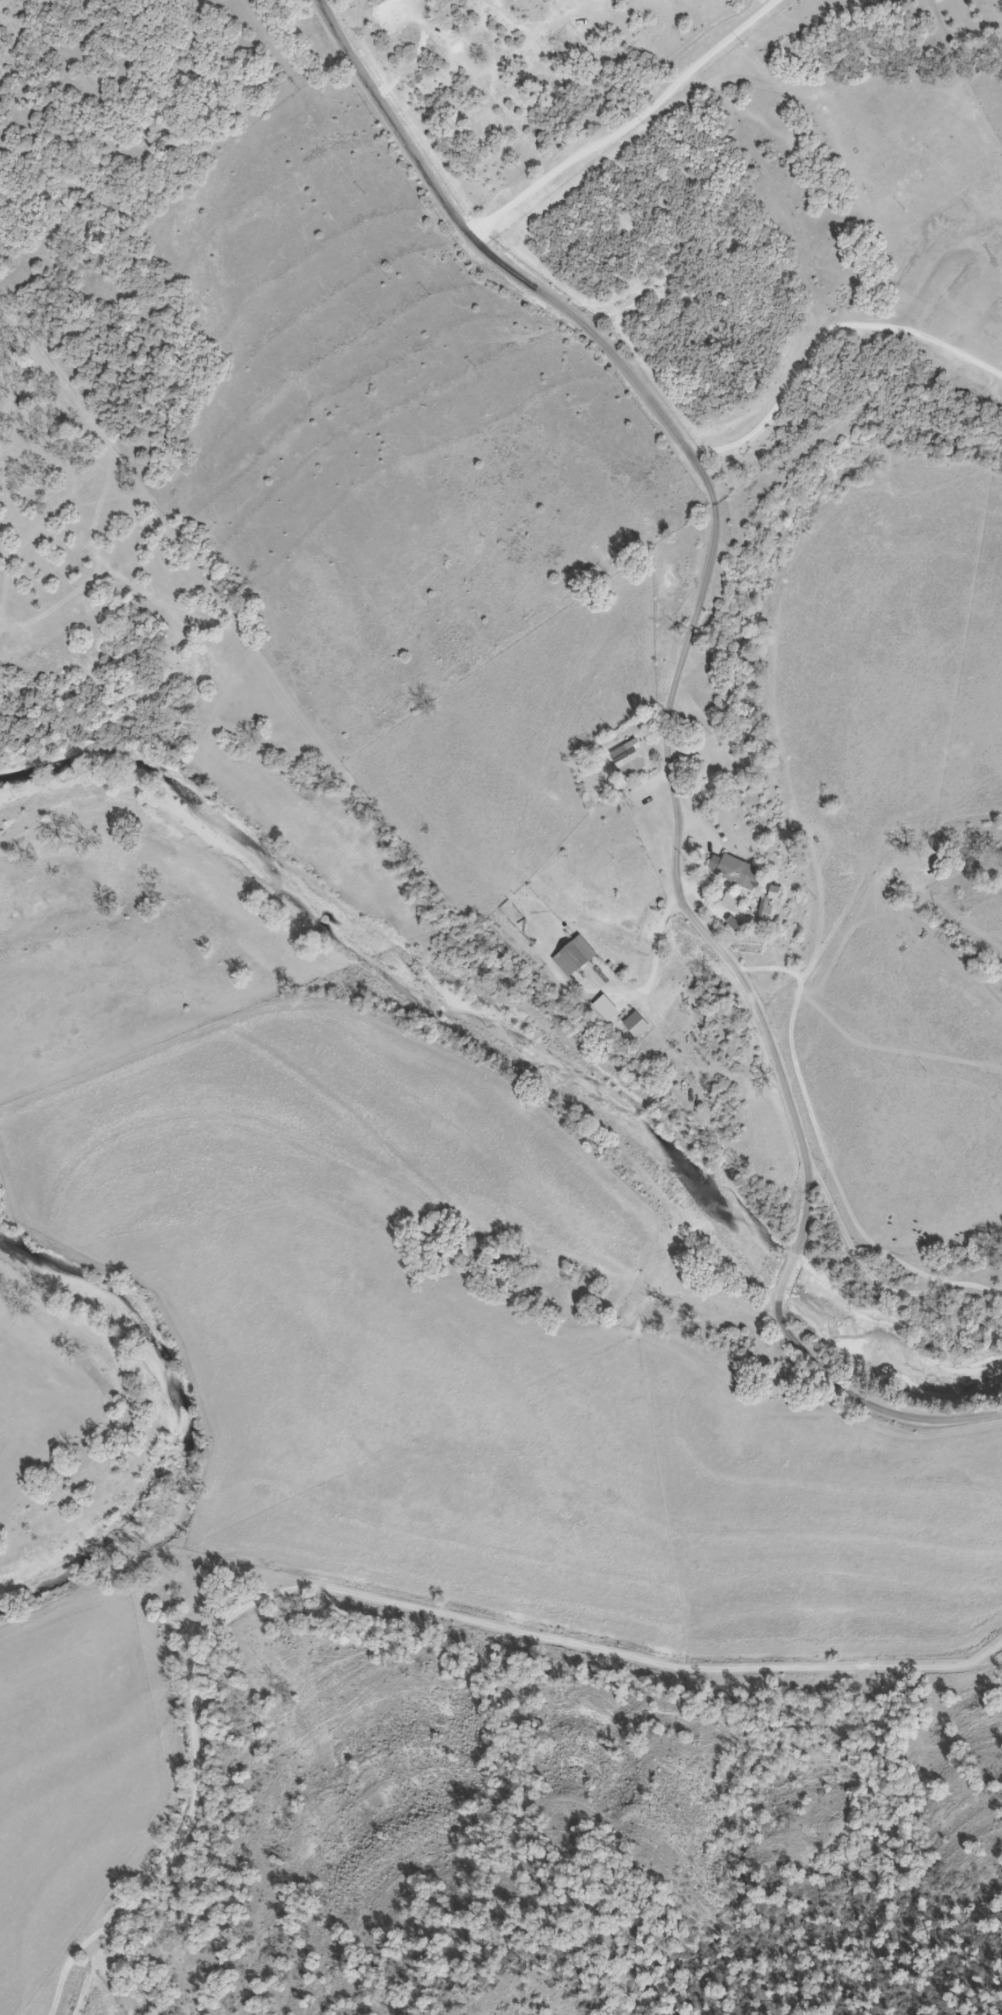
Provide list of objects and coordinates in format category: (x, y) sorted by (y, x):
road: (628, 125)
road: (703, 566)
building: (628, 760)
building: (735, 871)
building: (729, 902)
road: (657, 951)
building: (573, 956)
building: (636, 1025)
road: (788, 1274)
road: (867, 1404)

